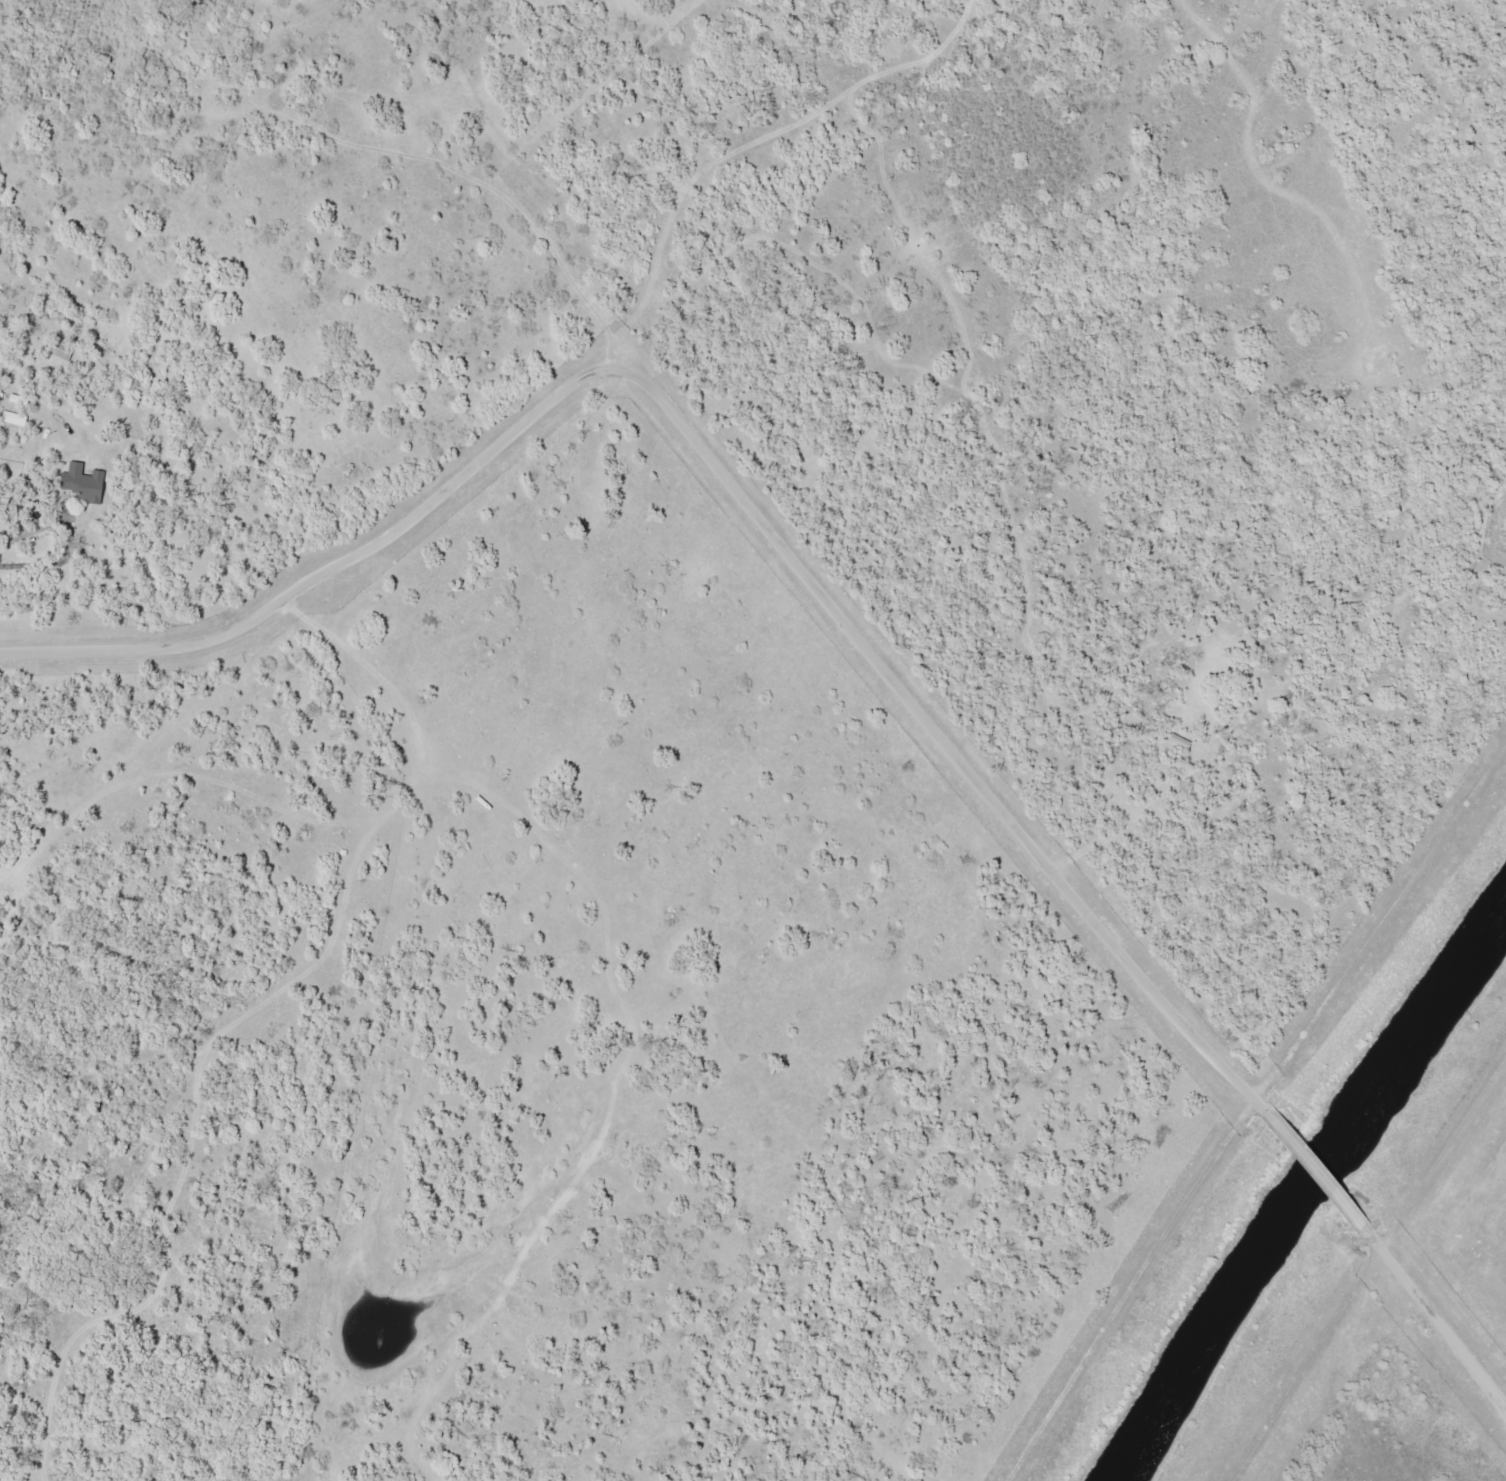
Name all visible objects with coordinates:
building: (59, 349)
building: (12, 418)
road: (720, 463)
building: (80, 482)
road: (1248, 1107)
road: (1330, 1179)
road: (1369, 1276)
road: (1445, 1333)

